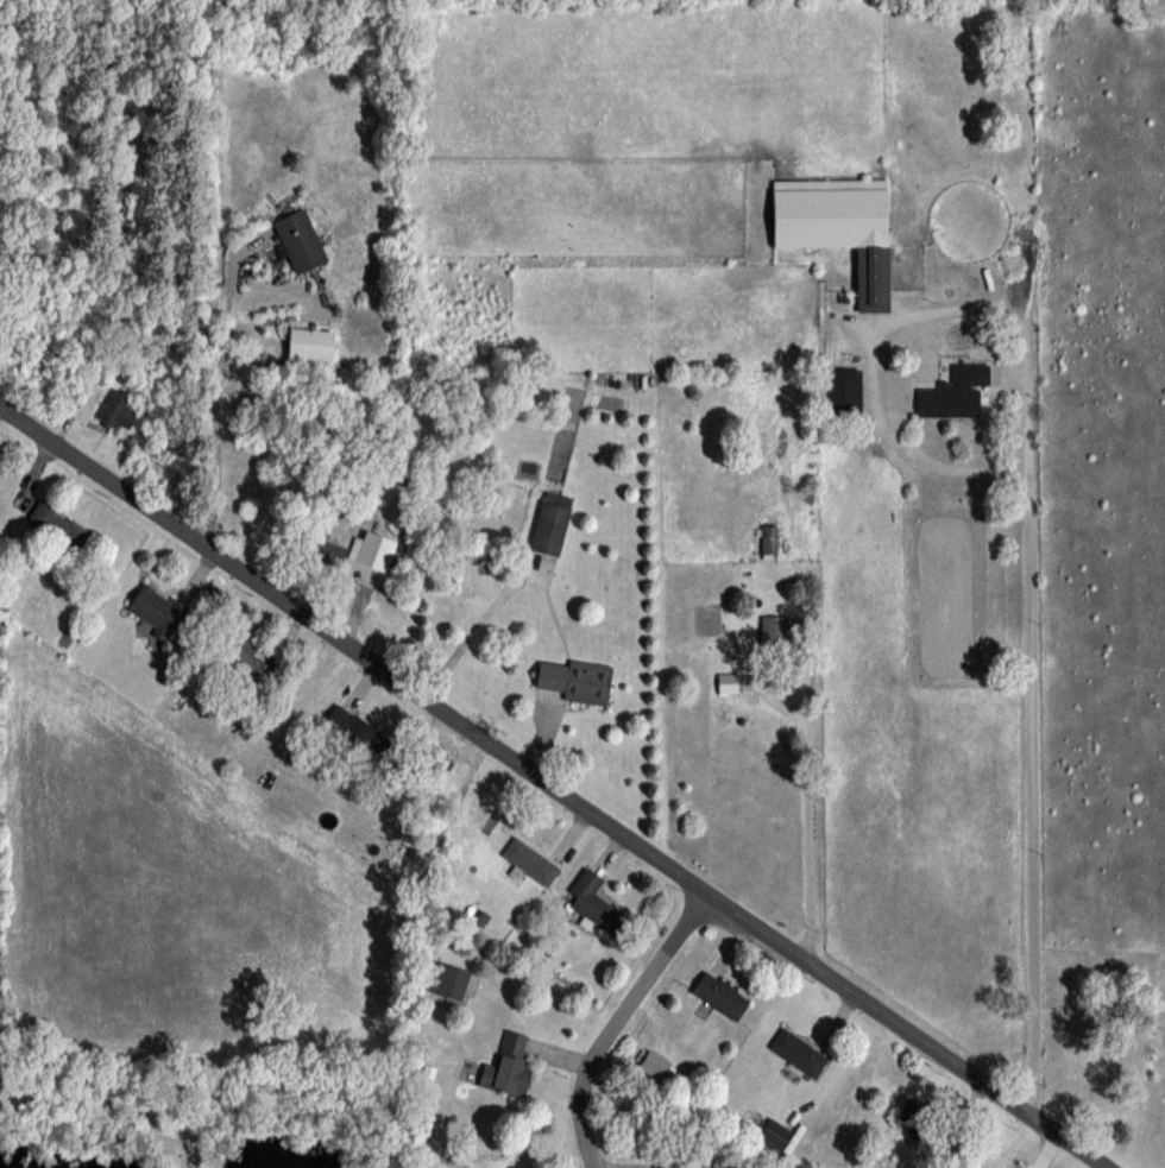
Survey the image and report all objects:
building: (835, 227)
building: (300, 240)
road: (276, 321)
building: (310, 343)
road: (222, 389)
building: (843, 391)
building: (955, 392)
building: (119, 409)
road: (1028, 507)
building: (552, 523)
building: (59, 524)
building: (768, 539)
building: (376, 550)
building: (325, 551)
building: (156, 610)
building: (774, 627)
road: (468, 632)
building: (246, 658)
building: (577, 680)
building: (728, 682)
building: (349, 727)
road: (806, 744)
road: (555, 787)
building: (529, 861)
building: (594, 902)
building: (448, 981)
building: (720, 995)
road: (615, 1019)
building: (798, 1052)
building: (508, 1066)
road: (0, 1071)
building: (774, 1132)
building: (521, 1167)

